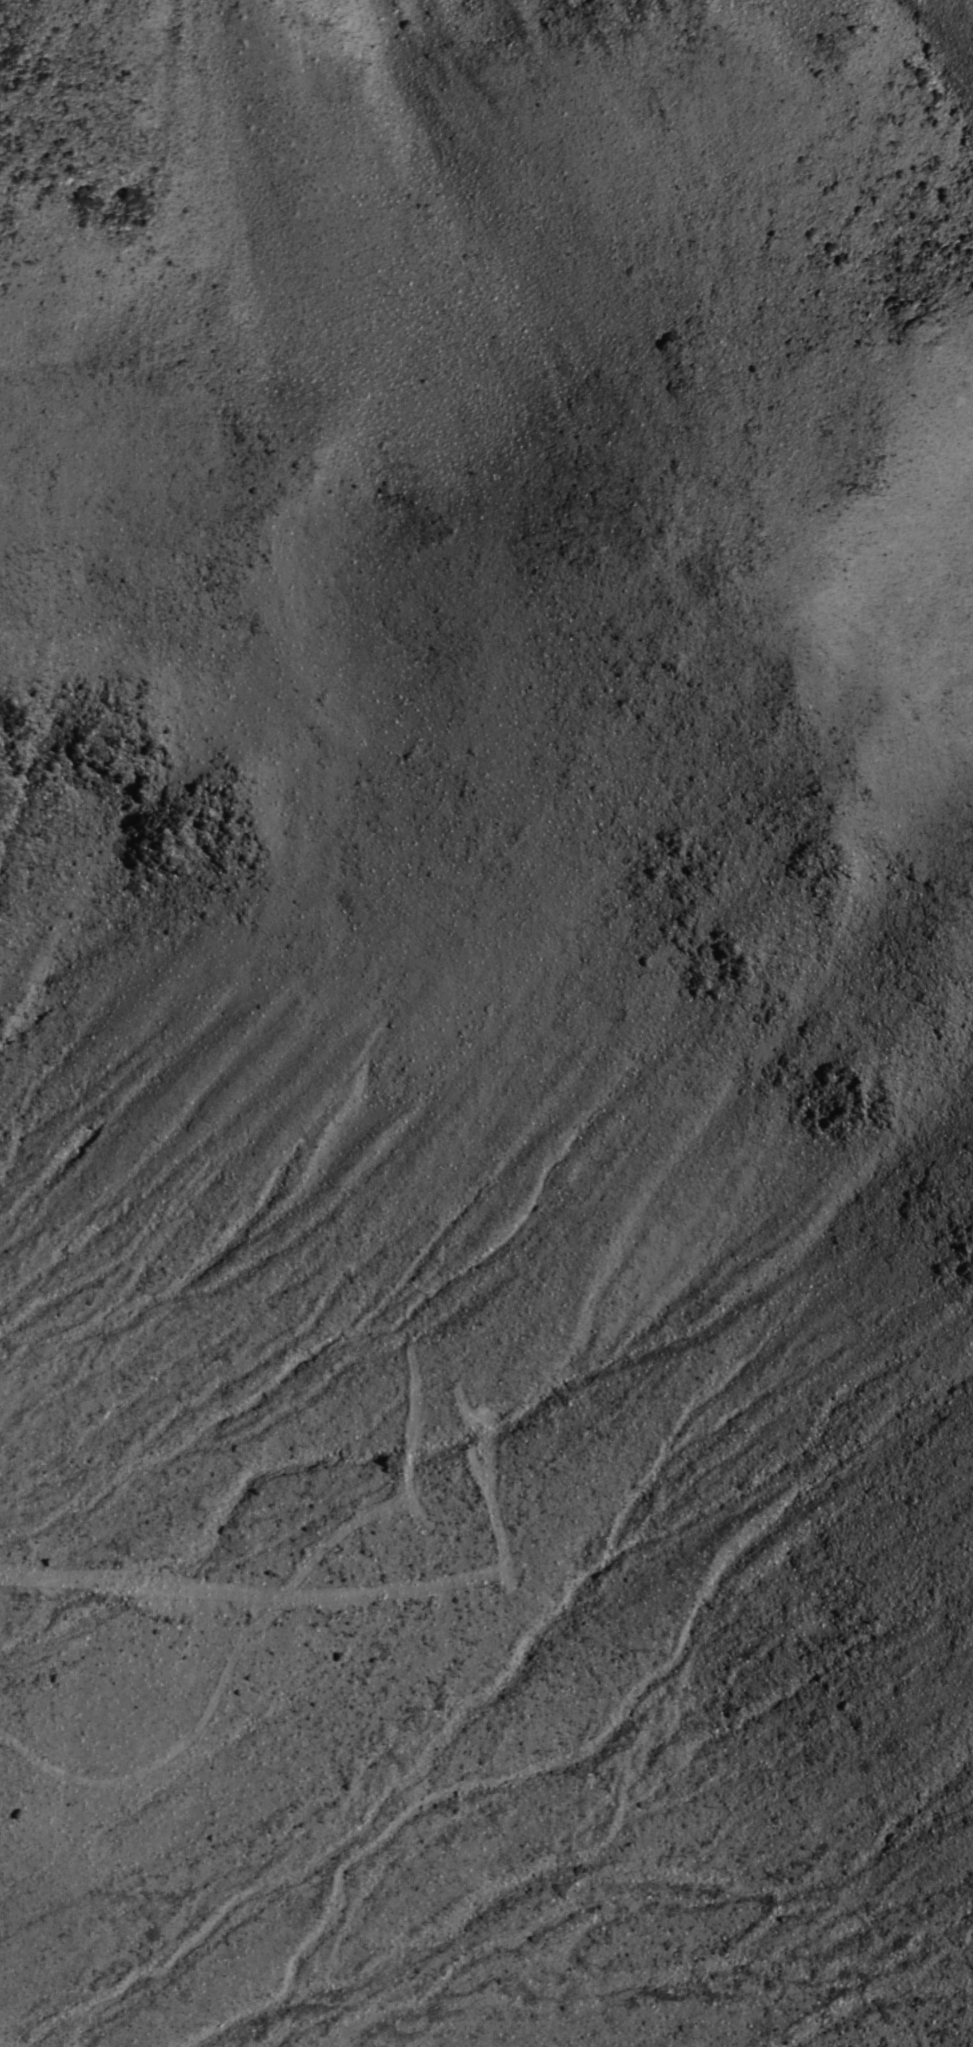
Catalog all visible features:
road: (293, 1595)
road: (173, 1745)

